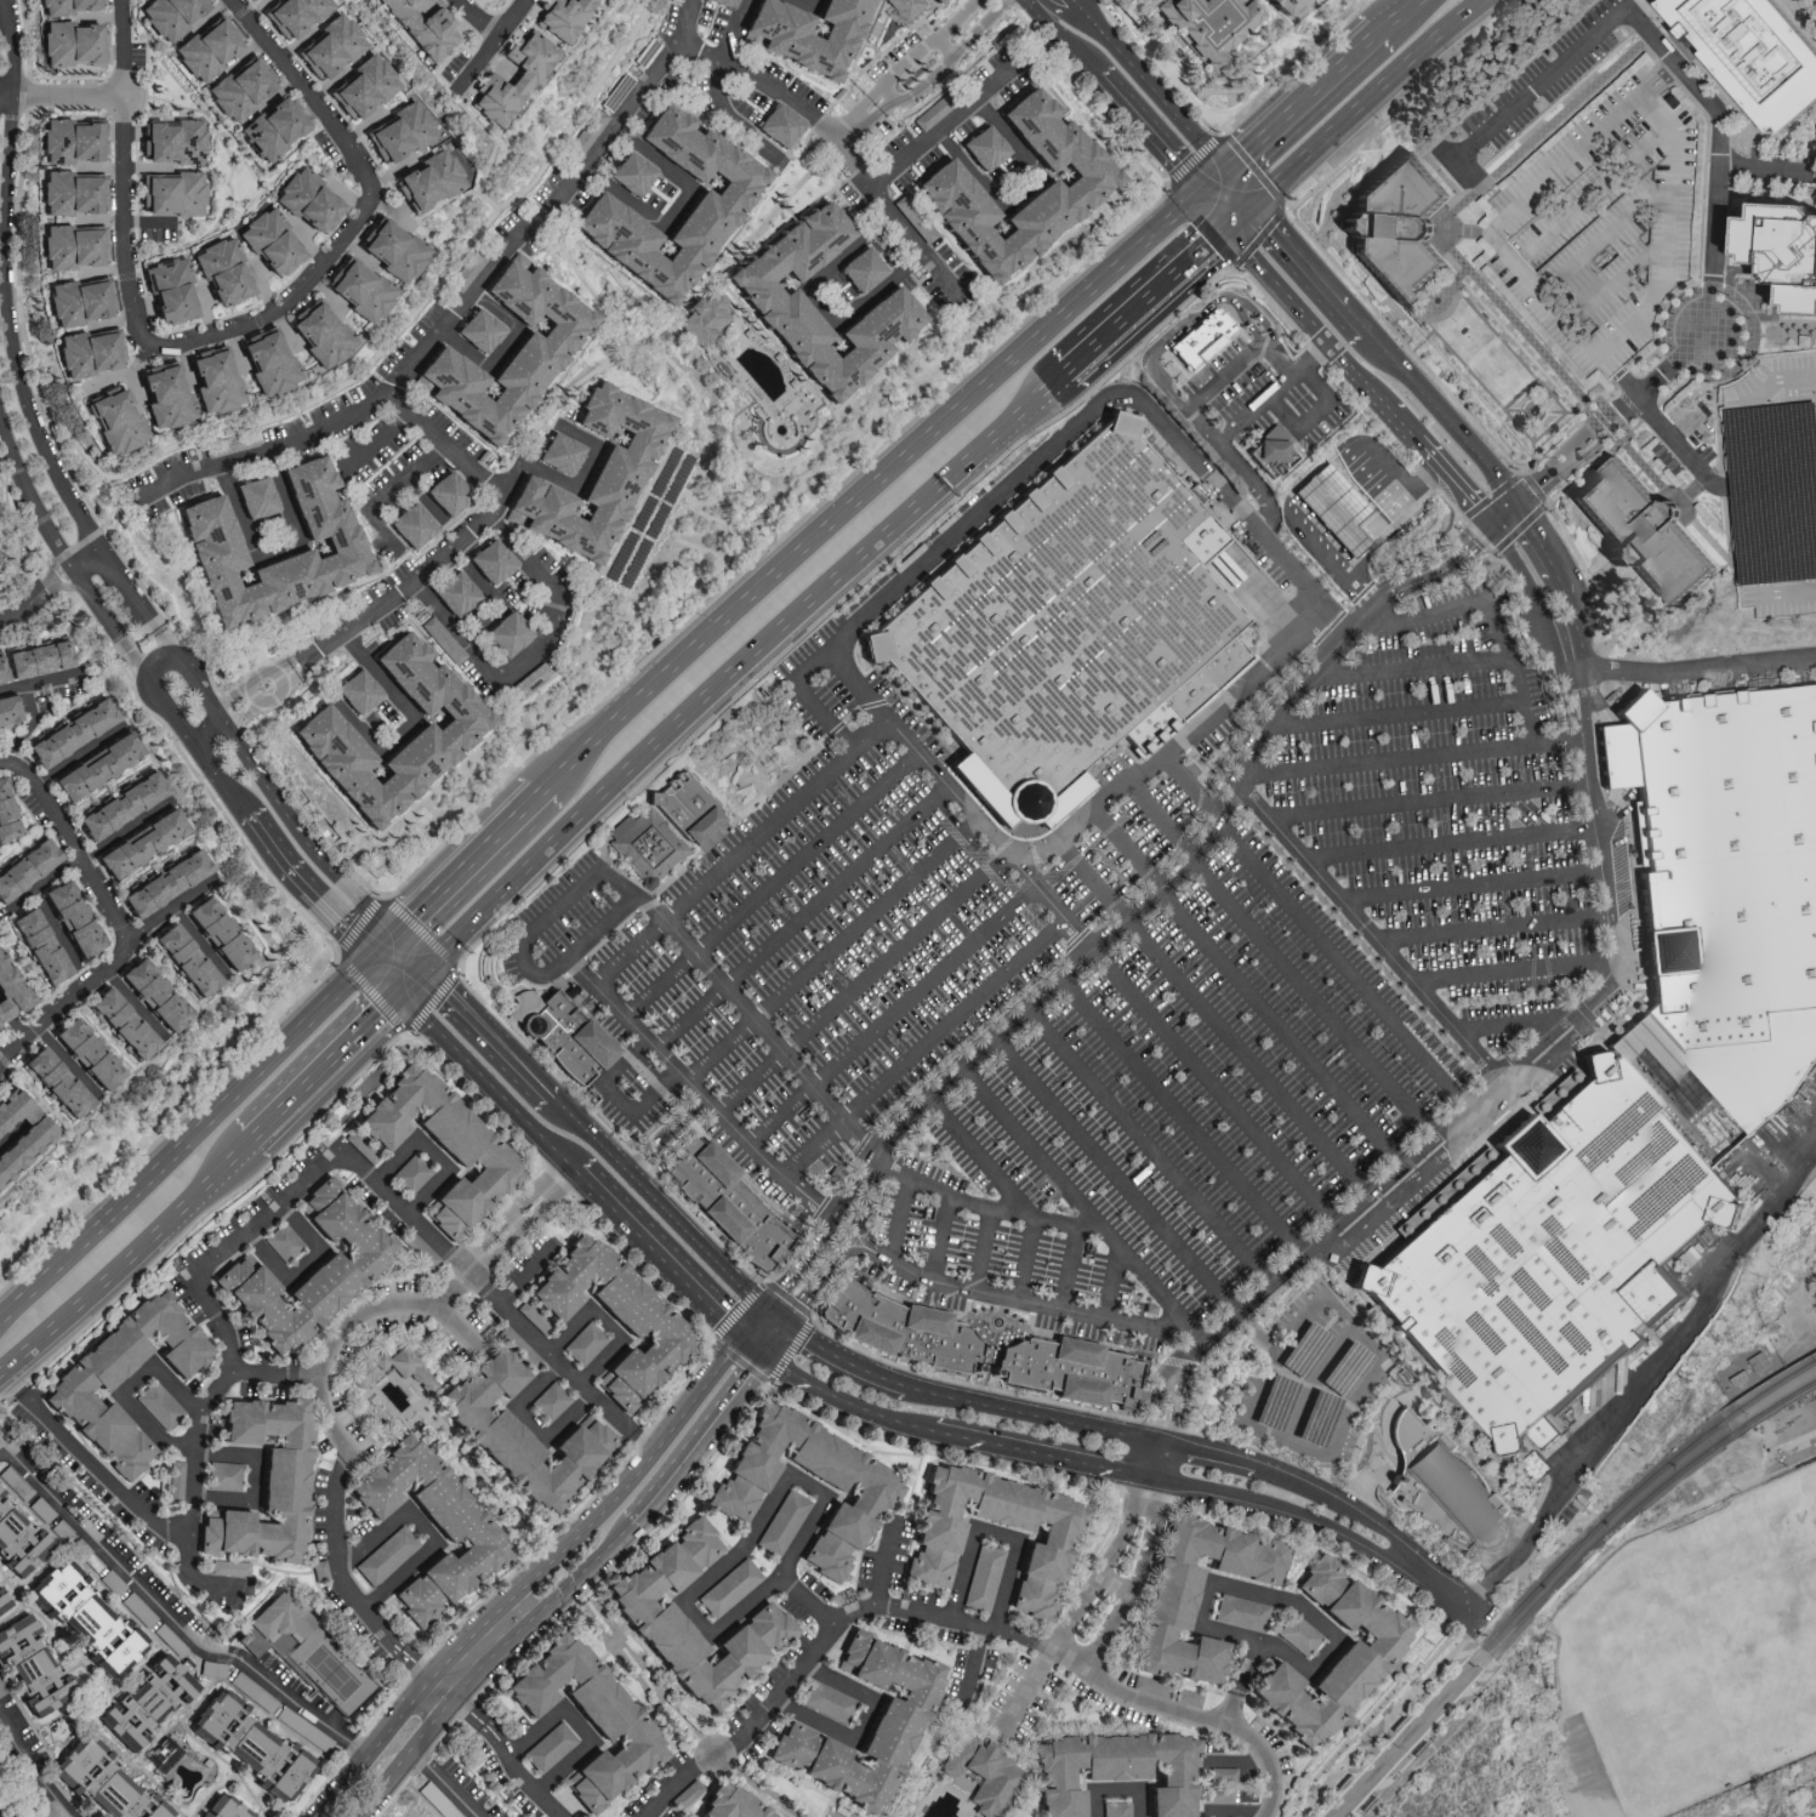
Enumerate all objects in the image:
building: (252, 1)
building: (724, 2)
road: (804, 4)
building: (1281, 5)
building: (64, 6)
building: (911, 10)
building: (292, 15)
building: (167, 16)
road: (482, 17)
building: (562, 17)
road: (1404, 17)
road: (1771, 17)
building: (1211, 27)
building: (422, 28)
road: (738, 28)
road: (1649, 35)
building: (302, 36)
road: (1709, 41)
road: (491, 42)
building: (70, 44)
building: (206, 46)
road: (922, 50)
road: (1766, 52)
building: (1749, 55)
road: (951, 59)
building: (816, 61)
building: (346, 67)
building: (523, 80)
road: (1154, 81)
building: (240, 86)
road: (1114, 95)
road: (62, 96)
road: (1305, 98)
road: (1374, 99)
road: (728, 115)
road: (853, 116)
road: (952, 116)
road: (1811, 118)
road: (211, 124)
building: (779, 125)
road: (863, 126)
building: (272, 127)
building: (399, 132)
building: (588, 132)
road: (1009, 133)
building: (70, 141)
building: (172, 141)
road: (839, 141)
building: (984, 147)
road: (969, 166)
road: (250, 170)
building: (631, 172)
road: (1214, 177)
building: (428, 181)
building: (943, 183)
road: (1245, 183)
road: (1020, 188)
traffic signals: (1201, 189)
building: (72, 193)
building: (171, 194)
building: (306, 200)
road: (252, 201)
traffic signals: (1260, 203)
road: (1217, 207)
building: (711, 211)
road: (681, 212)
road: (1246, 215)
building: (924, 229)
road: (759, 230)
parking lot: (1605, 230)
building: (1404, 233)
building: (268, 241)
building: (72, 246)
building: (391, 250)
building: (1777, 255)
road: (1314, 266)
building: (471, 268)
building: (861, 268)
building: (221, 272)
building: (169, 290)
building: (359, 291)
building: (79, 301)
road: (1146, 301)
road: (459, 304)
building: (778, 307)
road: (821, 308)
building: (706, 318)
road: (1189, 323)
road: (232, 327)
building: (479, 330)
road: (10, 332)
building: (319, 334)
road: (657, 334)
road: (1325, 341)
building: (1212, 348)
building: (89, 352)
road: (628, 354)
building: (531, 360)
road: (1241, 360)
building: (267, 363)
road: (1676, 371)
building: (214, 380)
road: (1270, 394)
road: (1740, 394)
building: (164, 395)
road: (560, 405)
road: (1099, 411)
road: (1314, 417)
road: (1445, 417)
road: (1660, 420)
building: (115, 422)
road: (1747, 429)
road: (375, 438)
road: (711, 442)
building: (232, 443)
building: (1273, 450)
building: (560, 452)
road: (1583, 454)
parking lot: (1755, 457)
road: (1317, 467)
road: (1237, 468)
road: (1772, 472)
building: (592, 478)
road: (1396, 479)
road: (875, 489)
road: (1458, 490)
building: (450, 494)
building: (1747, 495)
building: (255, 497)
traffic signals: (1522, 506)
building: (1334, 507)
gas station: (1333, 518)
road: (1507, 518)
road: (1738, 522)
building: (411, 525)
traffic signals: (1492, 531)
building: (1646, 536)
road: (53, 539)
building: (207, 539)
road: (1545, 541)
road: (1331, 552)
road: (279, 556)
building: (490, 562)
road: (51, 581)
road: (410, 582)
road: (546, 582)
road: (1249, 585)
building: (454, 593)
road: (1537, 597)
building: (1809, 604)
road: (1493, 615)
road: (1317, 620)
road: (1577, 622)
building: (1065, 630)
building: (507, 634)
road: (1321, 638)
building: (443, 639)
building: (32, 661)
road: (159, 661)
road: (1412, 671)
road: (1695, 671)
road: (188, 672)
road: (739, 674)
road: (695, 679)
road: (254, 687)
road: (12, 688)
building: (357, 691)
road: (159, 694)
road: (30, 705)
building: (7, 712)
road: (410, 714)
road: (1396, 719)
road: (734, 722)
road: (205, 728)
building: (451, 729)
building: (68, 734)
road: (747, 736)
road: (234, 739)
road: (1566, 740)
road: (197, 746)
road: (759, 751)
road: (1387, 761)
building: (95, 768)
road: (784, 779)
road: (224, 785)
road: (1438, 801)
building: (119, 807)
road: (1601, 818)
building: (5, 819)
building: (674, 833)
road: (1496, 838)
building: (140, 845)
road: (1191, 848)
road: (1053, 850)
road: (741, 851)
road: (1350, 853)
road: (318, 856)
building: (25, 868)
road: (474, 868)
building: (163, 884)
road: (772, 884)
building: (1730, 887)
road: (1480, 888)
road: (311, 890)
road: (170, 907)
road: (801, 917)
building: (70, 919)
road: (115, 921)
road: (1371, 927)
road: (1499, 928)
road: (1317, 933)
building: (216, 935)
building: (38, 947)
road: (831, 947)
road: (385, 956)
building: (183, 961)
road: (409, 962)
road: (1283, 962)
traffic signals: (374, 967)
road: (1521, 970)
parking lot: (1135, 973)
road: (548, 976)
traffic signals: (423, 978)
road: (864, 980)
road: (387, 982)
road: (412, 989)
road: (1249, 991)
building: (11, 995)
building: (152, 996)
traffic signals: (402, 999)
road: (893, 1014)
road: (1214, 1020)
road: (1520, 1024)
building: (120, 1025)
road: (759, 1026)
road: (1565, 1027)
building: (575, 1042)
road: (494, 1043)
road: (923, 1047)
road: (1179, 1050)
building: (85, 1055)
road: (323, 1073)
road: (490, 1082)
building: (53, 1083)
road: (699, 1093)
road: (614, 1098)
road: (1180, 1115)
road: (577, 1127)
building: (18, 1129)
road: (665, 1134)
road: (187, 1141)
building: (440, 1143)
building: (360, 1144)
road: (1148, 1144)
road: (436, 1152)
road: (978, 1155)
building: (411, 1172)
road: (1115, 1173)
road: (206, 1183)
road: (872, 1189)
road: (1070, 1194)
road: (1371, 1195)
road: (843, 1200)
road: (275, 1206)
building: (740, 1207)
road: (987, 1207)
road: (512, 1209)
road: (899, 1219)
road: (525, 1225)
road: (681, 1226)
road: (848, 1236)
road: (864, 1236)
road: (940, 1238)
building: (284, 1241)
building: (421, 1249)
road: (983, 1249)
road: (854, 1252)
building: (1566, 1253)
road: (659, 1258)
road: (882, 1258)
road: (1023, 1258)
road: (306, 1261)
building: (346, 1266)
road: (1070, 1268)
road: (789, 1278)
road: (1114, 1283)
road: (450, 1289)
road: (808, 1291)
road: (84, 1294)
road: (1035, 1303)
building: (614, 1315)
traffic signals: (765, 1315)
building: (535, 1316)
road: (1242, 1317)
road: (774, 1321)
road: (347, 1322)
road: (608, 1322)
fountain: (1001, 1326)
road: (756, 1328)
traffic signals: (784, 1328)
road: (1195, 1332)
building: (912, 1337)
traffic signals: (747, 1342)
road: (773, 1342)
building: (585, 1344)
building: (519, 1346)
road: (755, 1348)
road: (1285, 1348)
traffic signals: (763, 1355)
road: (849, 1361)
building: (392, 1367)
road: (273, 1377)
building: (1085, 1380)
road: (10, 1382)
building: (69, 1384)
road: (1173, 1385)
road: (126, 1388)
road: (1647, 1388)
railway: (1770, 1392)
road: (839, 1396)
building: (550, 1401)
building: (159, 1405)
railway: (1774, 1409)
road: (1038, 1416)
road: (533, 1420)
building: (0, 1431)
building: (520, 1431)
road: (698, 1440)
road: (643, 1441)
road: (1037, 1452)
road: (1313, 1452)
road: (1223, 1458)
road: (1156, 1459)
road: (97, 1471)
building: (224, 1475)
road: (256, 1477)
building: (176, 1481)
building: (263, 1481)
building: (16, 1482)
building: (738, 1488)
building: (1447, 1488)
road: (1282, 1510)
road: (1353, 1511)
building: (782, 1522)
road: (427, 1531)
building: (468, 1531)
road: (996, 1533)
building: (17, 1539)
building: (935, 1542)
road: (1118, 1542)
road: (1146, 1553)
road: (336, 1555)
building: (386, 1555)
road: (892, 1560)
building: (229, 1567)
road: (721, 1568)
building: (320, 1570)
building: (984, 1578)
road: (535, 1579)
building: (113, 1582)
road: (1233, 1584)
building: (729, 1587)
road: (1444, 1591)
building: (1167, 1604)
building: (1, 1608)
building: (650, 1610)
railway: (1519, 1610)
building: (1242, 1612)
railway: (1528, 1614)
building: (86, 1616)
road: (172, 1616)
building: (279, 1622)
road: (1068, 1628)
building: (1299, 1634)
road: (821, 1640)
railway: (1469, 1641)
road: (1099, 1646)
building: (1366, 1651)
road: (414, 1653)
railway: (1495, 1661)
road: (406, 1663)
building: (32, 1664)
road: (488, 1664)
building: (212, 1668)
park: (329, 1670)
road: (1032, 1686)
building: (1152, 1686)
road: (446, 1687)
building: (1189, 1697)
building: (147, 1698)
building: (829, 1702)
road: (469, 1710)
building: (586, 1716)
road: (1191, 1716)
road: (861, 1722)
road: (579, 1726)
building: (888, 1732)
building: (251, 1744)
building: (550, 1747)
building: (165, 1754)
road: (35, 1768)
building: (1115, 1770)
road: (516, 1771)
building: (983, 1773)
building: (1223, 1773)
building: (104, 1781)
road: (445, 1783)
road: (1122, 1789)
building: (1220, 1795)
building: (730, 1802)
building: (222, 1807)
building: (45, 1809)
building: (1116, 1809)

